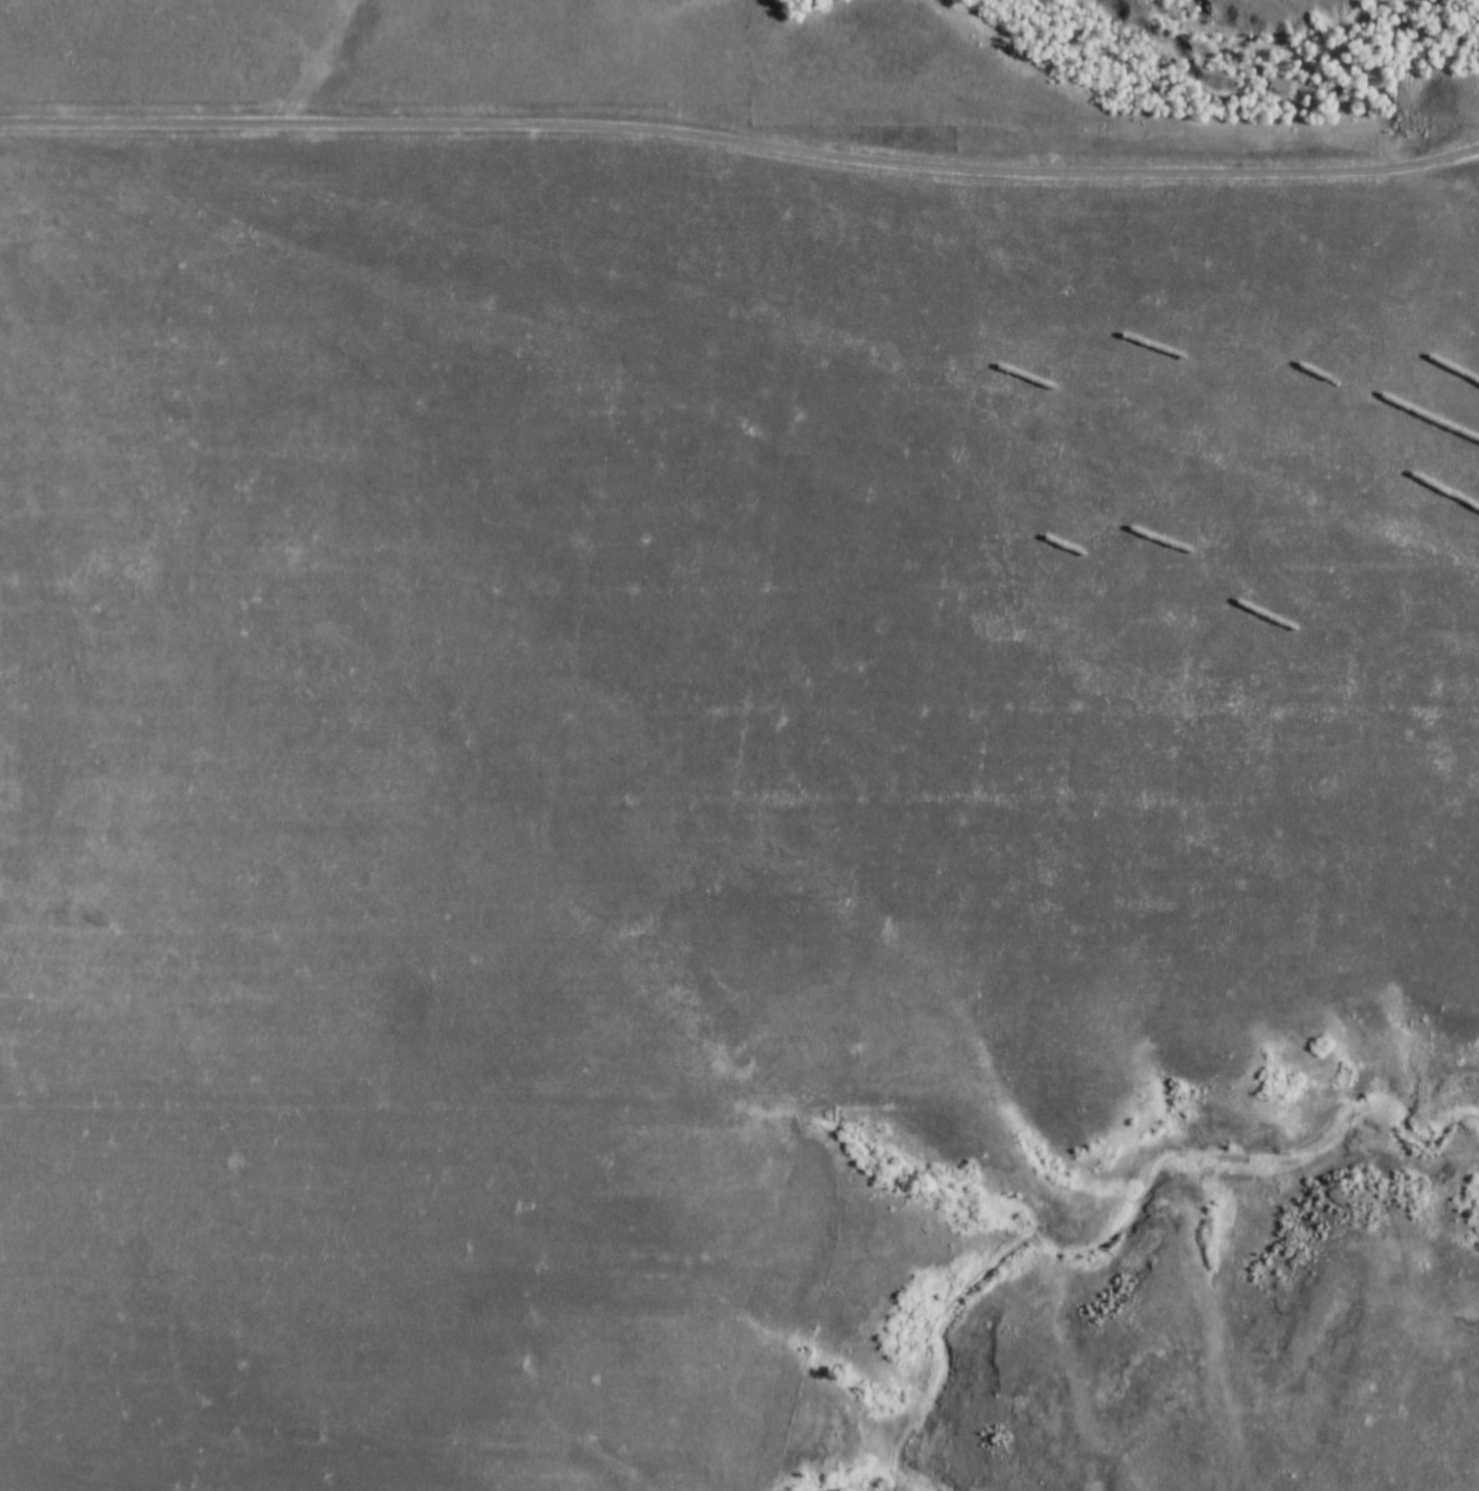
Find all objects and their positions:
road: (742, 139)

